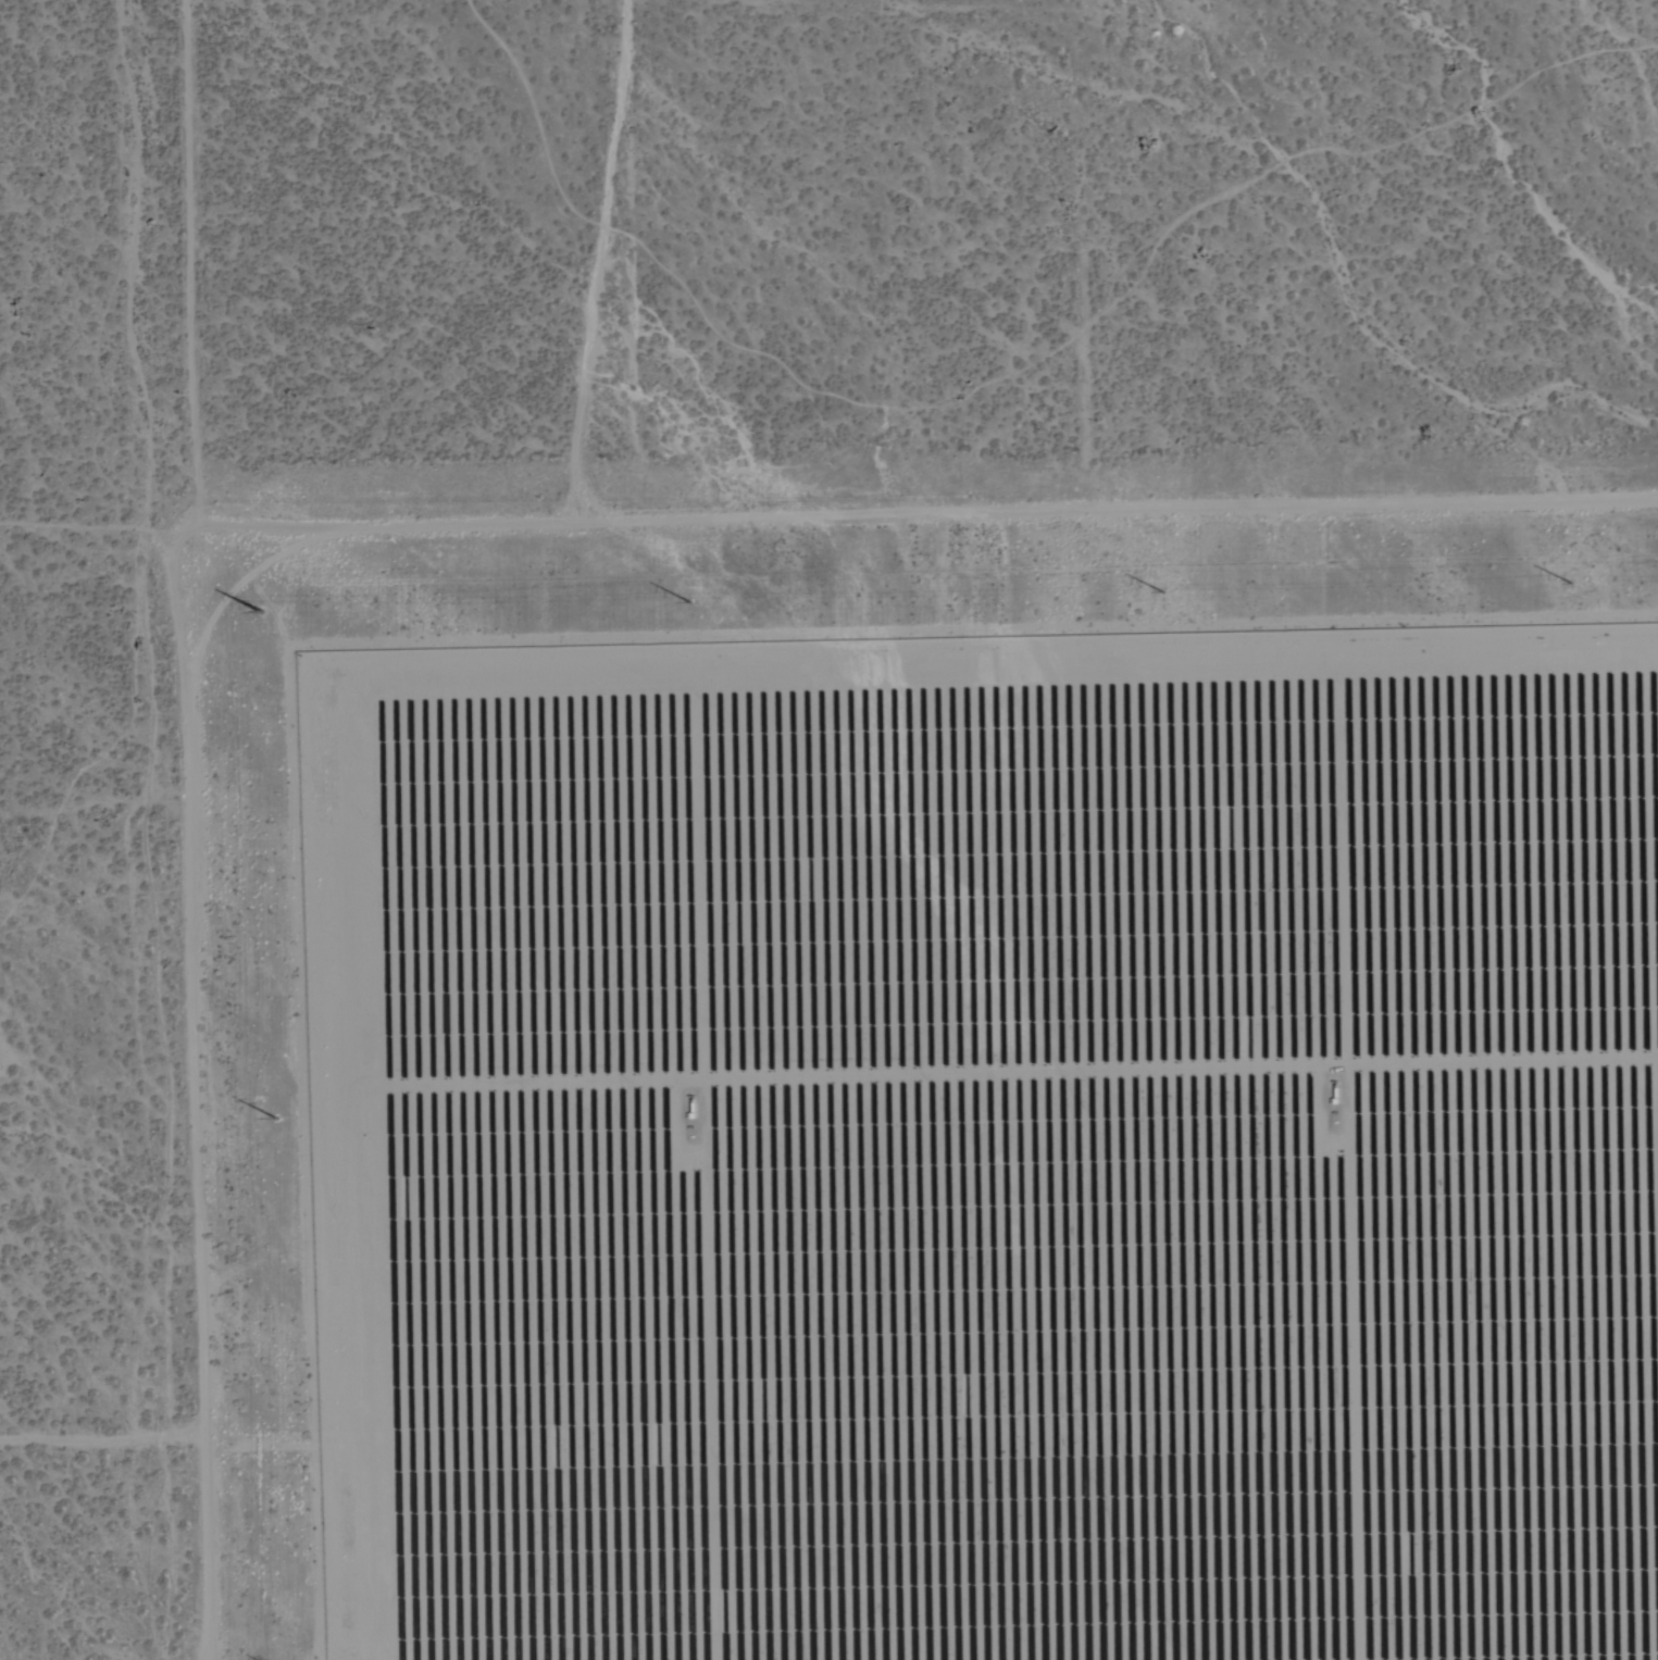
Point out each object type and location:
road: (604, 258)
road: (907, 508)
road: (83, 542)
road: (187, 726)
solar farm: (989, 1147)
road: (198, 1462)

